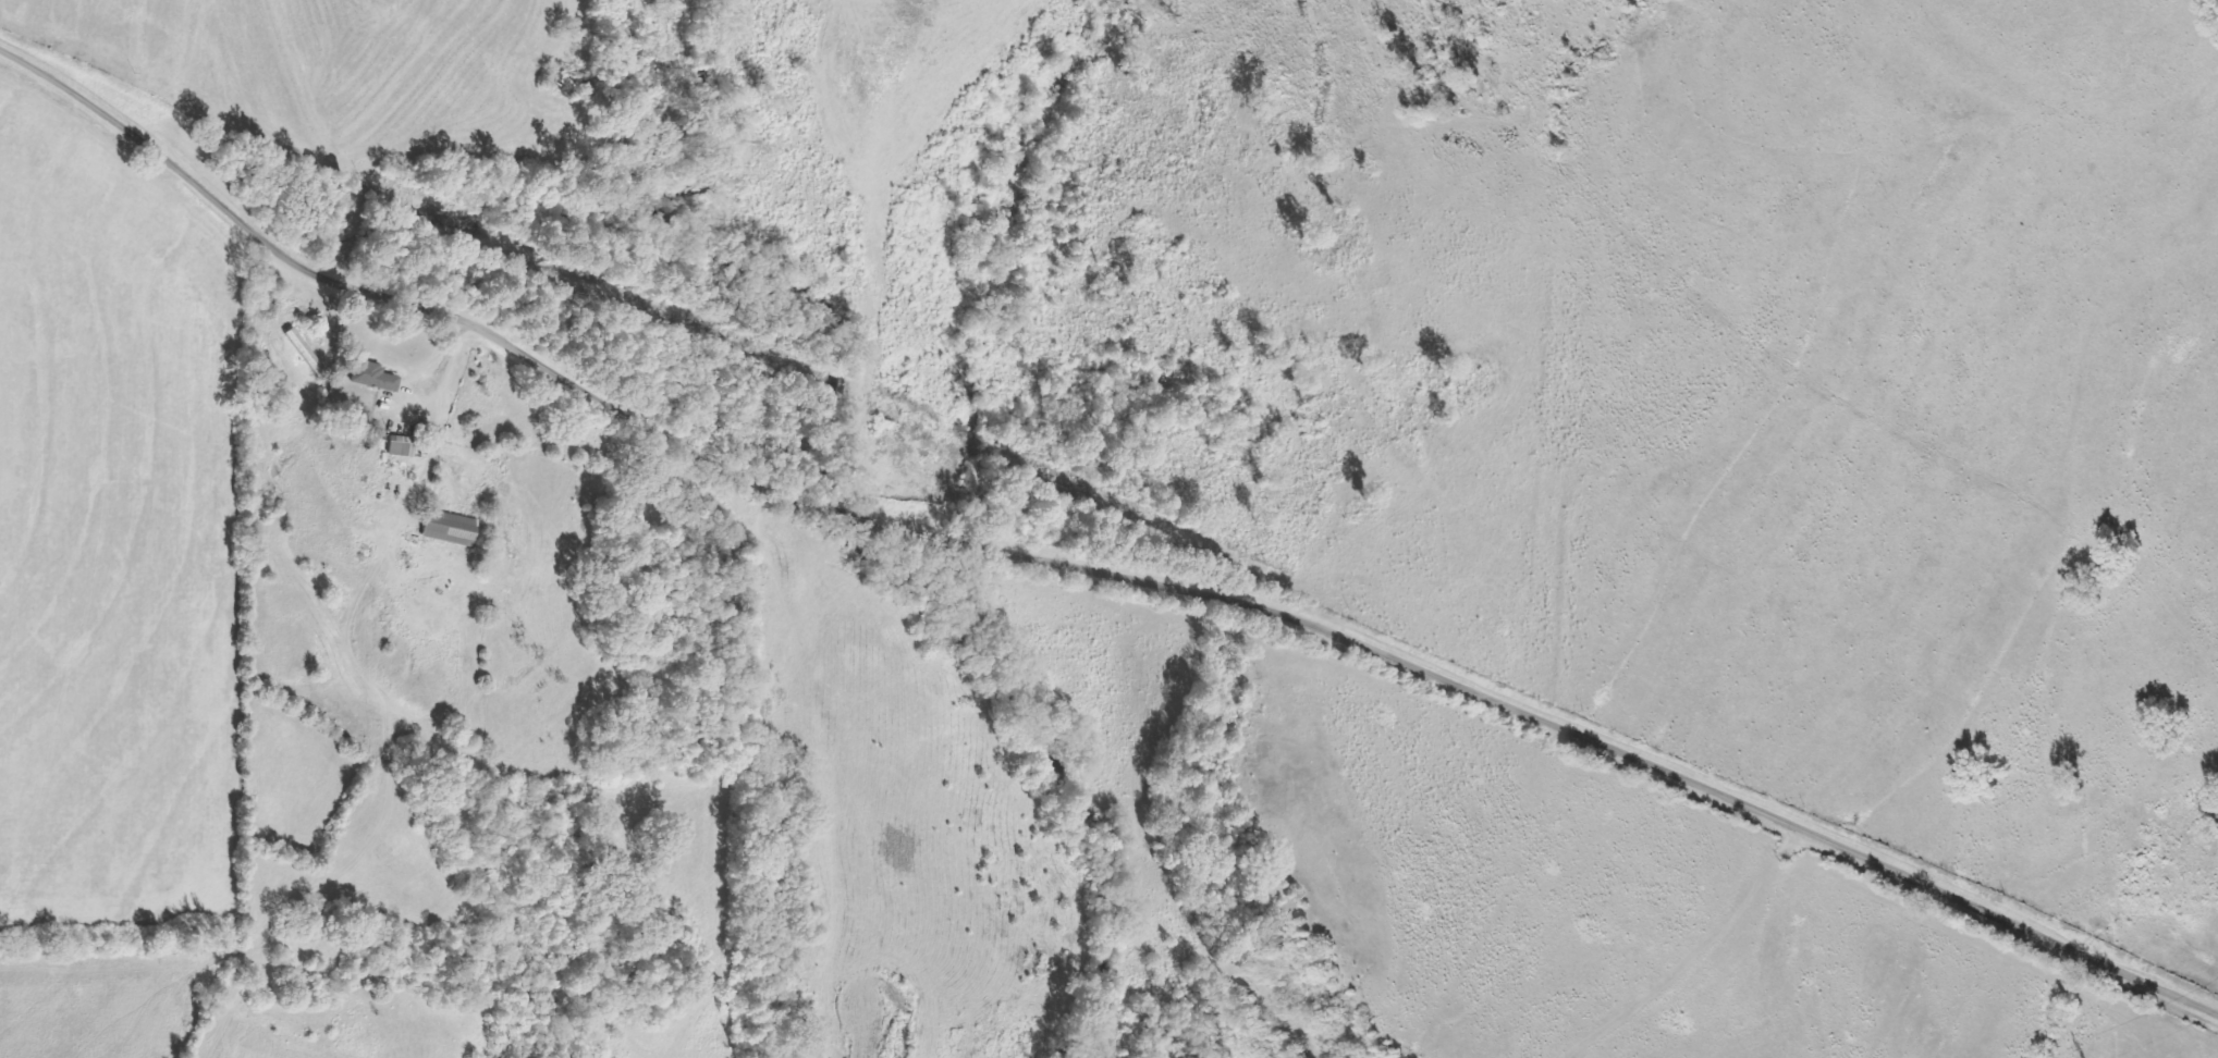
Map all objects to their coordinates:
road: (420, 325)
building: (373, 379)
building: (446, 530)
road: (1552, 740)

